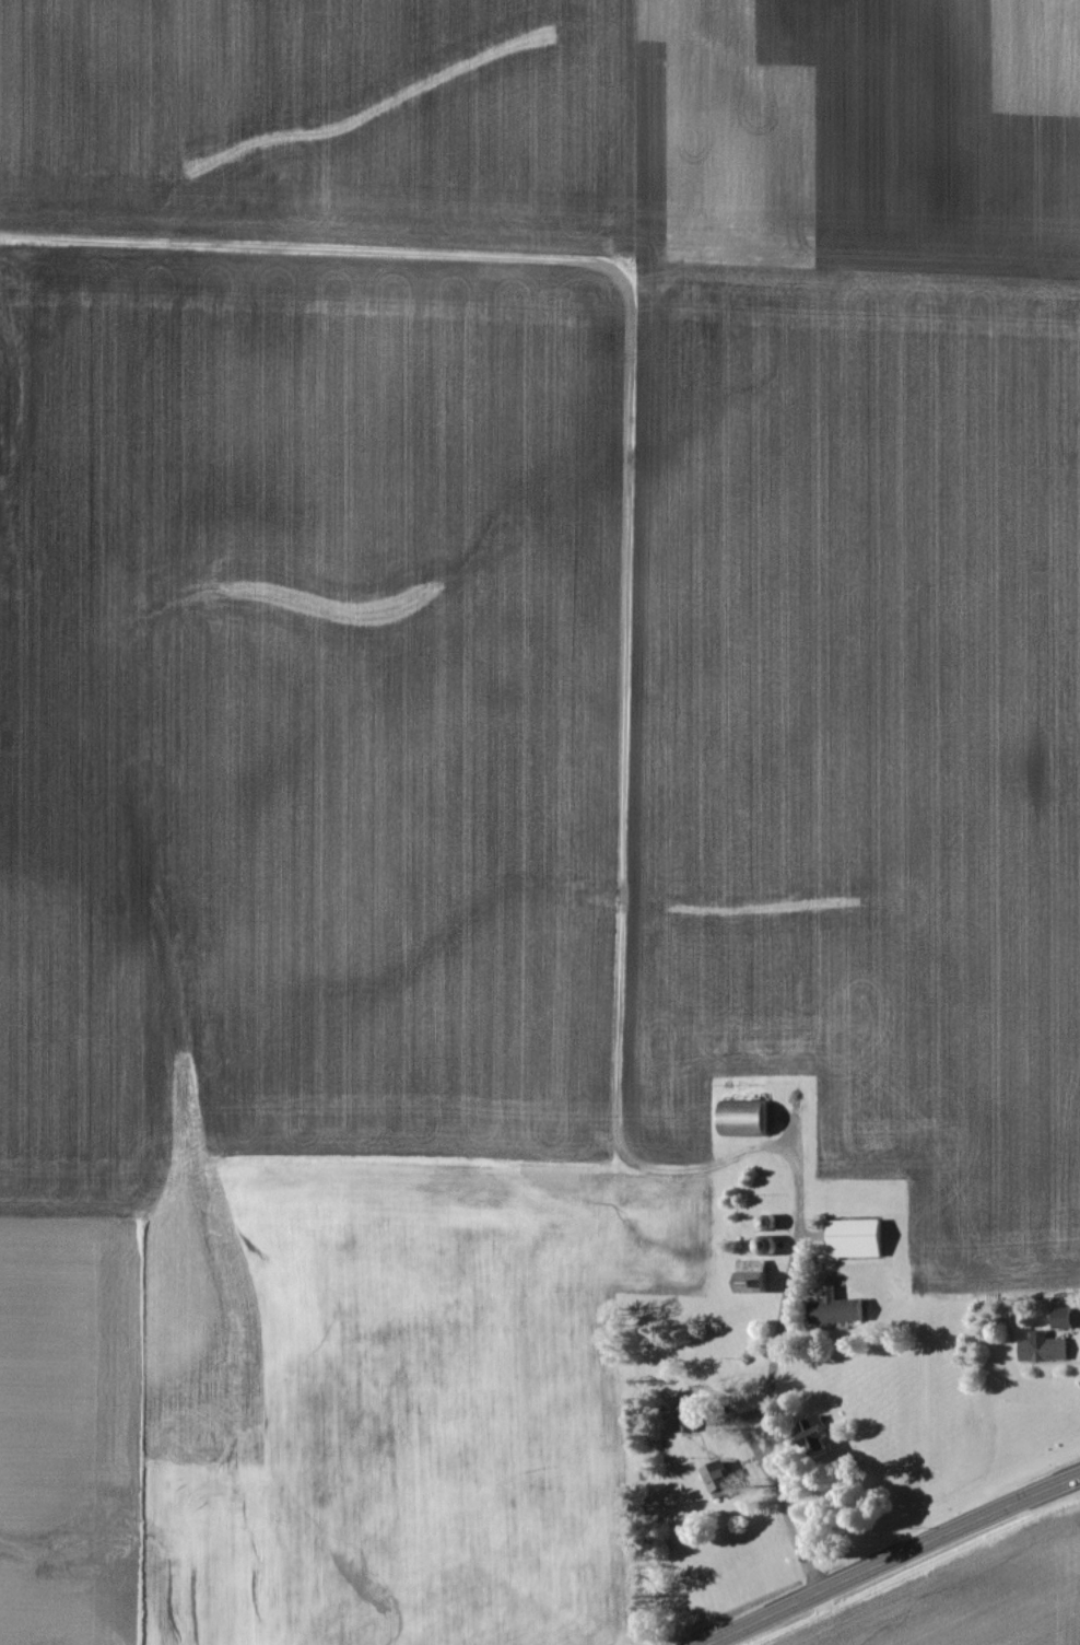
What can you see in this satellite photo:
building: (749, 1120)
building: (860, 1240)
building: (1066, 1319)
building: (1046, 1350)
road: (778, 1370)
building: (724, 1481)
road: (880, 1554)

